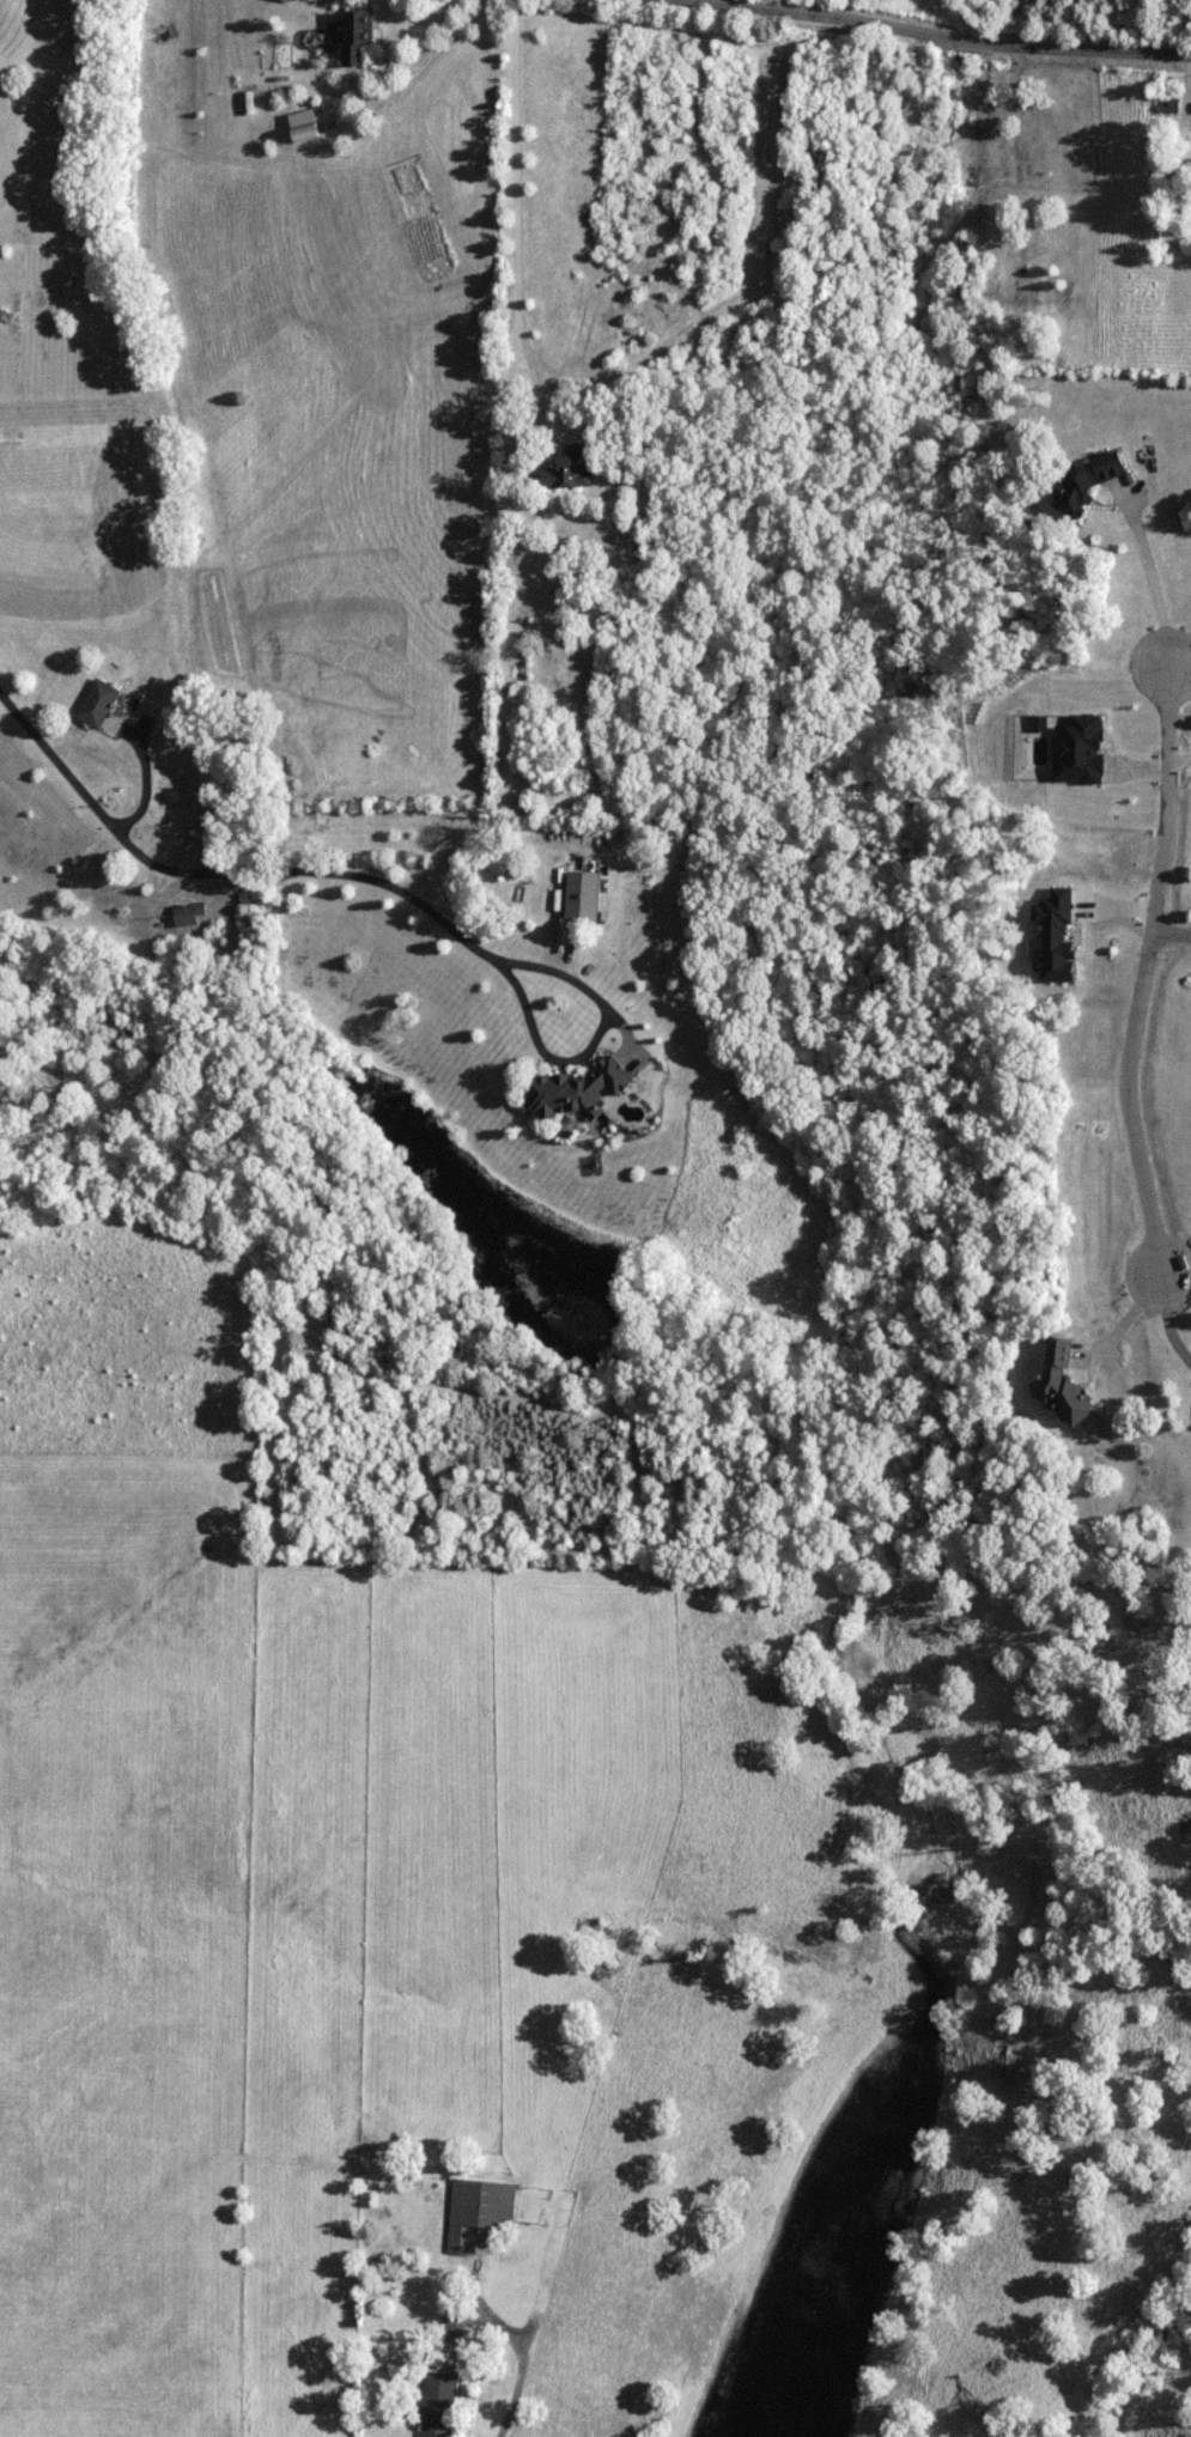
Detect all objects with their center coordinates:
road: (891, 29)
building: (360, 35)
road: (429, 71)
building: (309, 133)
road: (516, 280)
building: (571, 469)
building: (1090, 482)
road: (1149, 573)
building: (235, 703)
building: (101, 704)
road: (1178, 759)
road: (78, 792)
building: (585, 898)
building: (193, 913)
road: (1171, 930)
road: (481, 953)
road: (1143, 970)
building: (579, 1090)
road: (1122, 1321)
road: (1166, 1321)
building: (1067, 1382)
building: (480, 2211)
road: (516, 2400)
building: (440, 2405)

